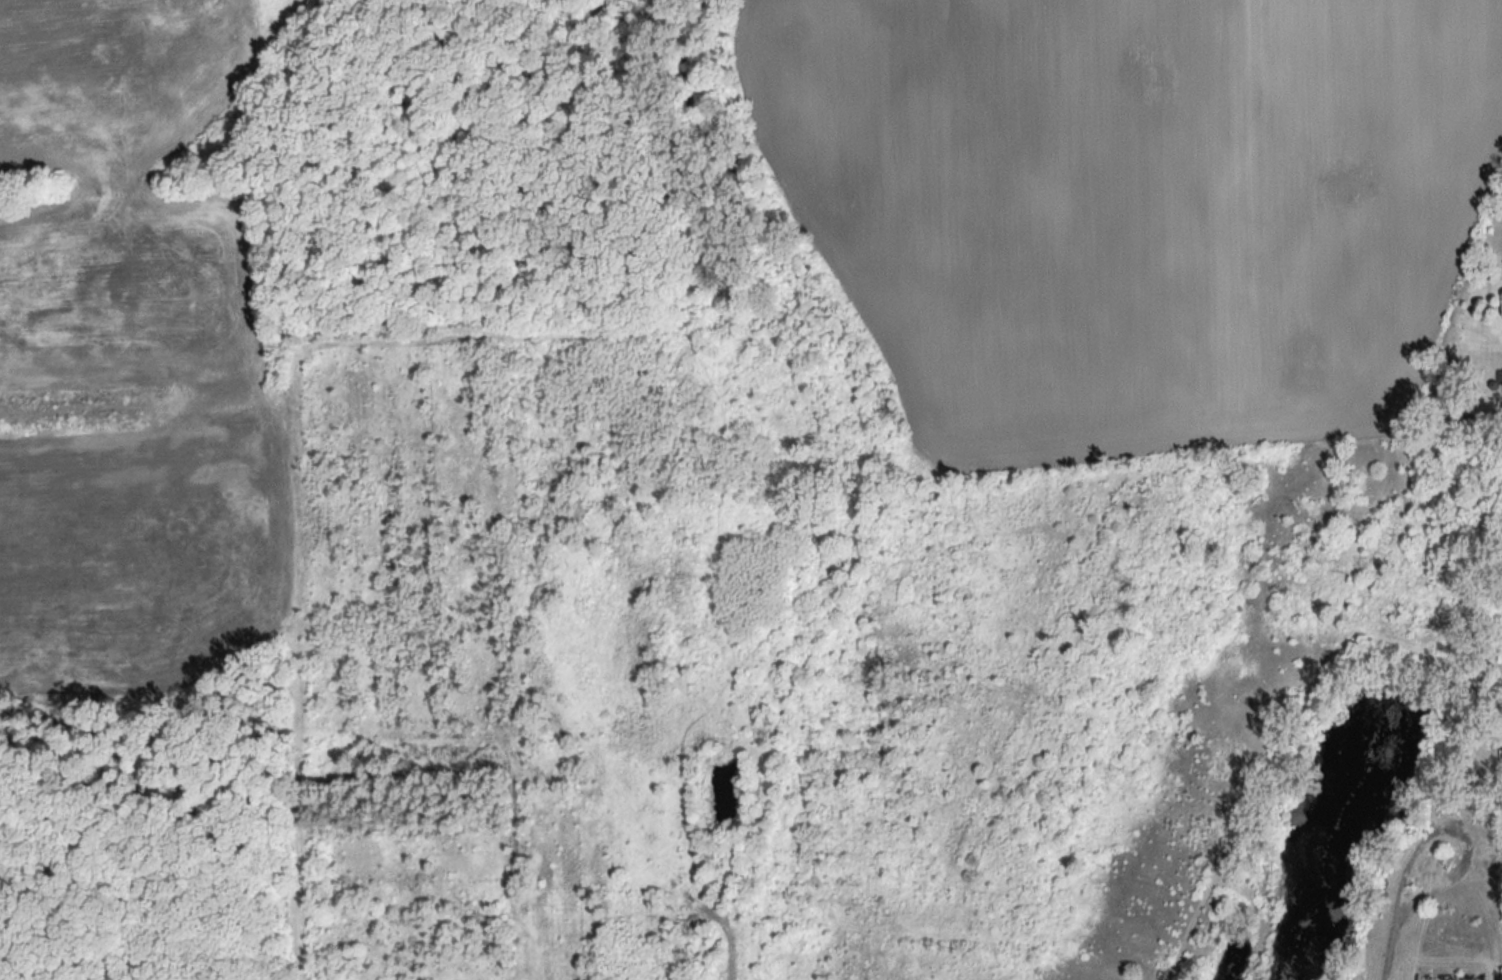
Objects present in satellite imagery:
crop: (32, 185)
crop: (32, 185)
crop: (1133, 206)
crop: (129, 372)
building: (1500, 377)
road: (1388, 943)
building: (1449, 976)

